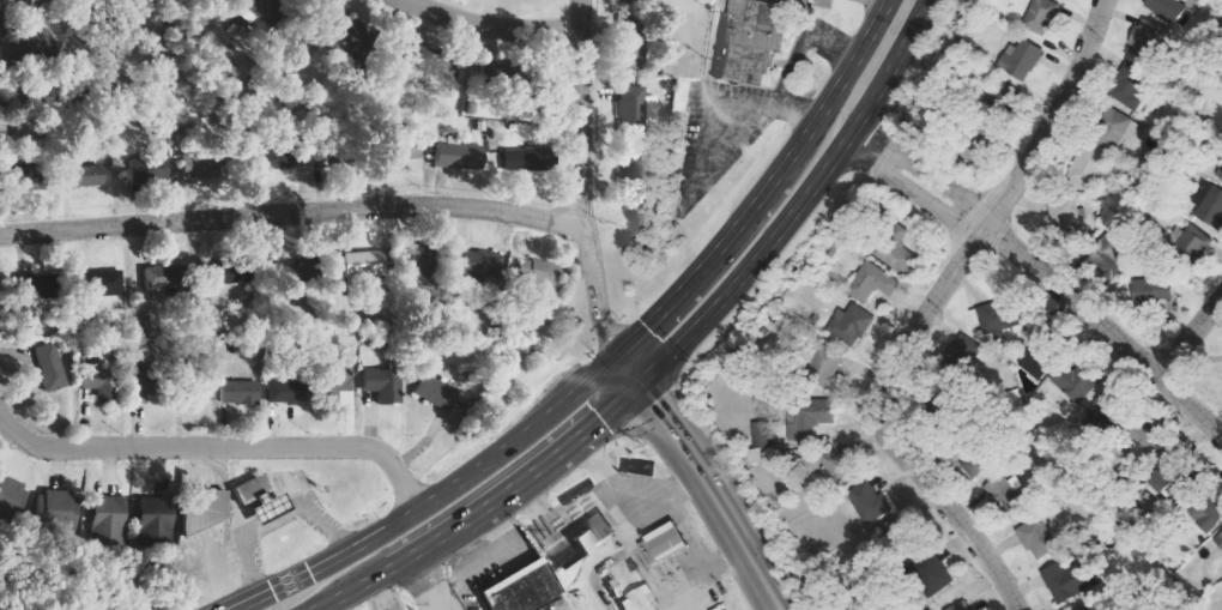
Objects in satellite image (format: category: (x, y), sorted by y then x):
building: (791, 0)
building: (1168, 10)
building: (262, 12)
building: (1043, 16)
road: (492, 22)
building: (1147, 40)
building: (754, 41)
building: (627, 44)
building: (431, 60)
building: (1021, 60)
building: (1131, 86)
road: (708, 104)
building: (631, 110)
building: (1115, 127)
building: (394, 149)
building: (521, 158)
building: (200, 165)
building: (631, 168)
building: (1087, 168)
building: (152, 169)
building: (80, 176)
building: (1221, 177)
building: (23, 179)
road: (582, 180)
road: (767, 187)
road: (799, 204)
building: (1210, 204)
road: (292, 212)
building: (1069, 213)
building: (1191, 242)
building: (896, 248)
building: (1108, 255)
building: (353, 264)
building: (416, 264)
building: (478, 264)
building: (235, 271)
building: (284, 272)
building: (533, 274)
road: (1043, 276)
building: (157, 280)
building: (101, 282)
building: (873, 283)
building: (34, 285)
building: (1154, 290)
road: (922, 310)
building: (993, 319)
building: (852, 325)
road: (1190, 334)
building: (963, 349)
traffic signals: (617, 354)
building: (1036, 361)
building: (825, 364)
building: (52, 367)
road: (628, 369)
building: (201, 381)
building: (103, 382)
building: (332, 382)
building: (139, 383)
building: (383, 383)
building: (1076, 383)
traffic signals: (639, 385)
building: (240, 391)
building: (435, 391)
building: (286, 392)
building: (809, 417)
building: (1143, 434)
building: (762, 441)
road: (219, 447)
building: (840, 464)
building: (1159, 479)
building: (992, 481)
road: (714, 493)
building: (11, 496)
building: (259, 497)
road: (434, 497)
building: (870, 501)
building: (201, 507)
road: (483, 507)
building: (59, 511)
building: (109, 519)
building: (156, 520)
building: (589, 534)
building: (1038, 537)
building: (1218, 540)
building: (658, 544)
building: (932, 573)
road: (427, 581)
building: (1065, 581)
building: (516, 587)
road: (379, 594)
building: (634, 600)
building: (961, 606)
road: (319, 609)

